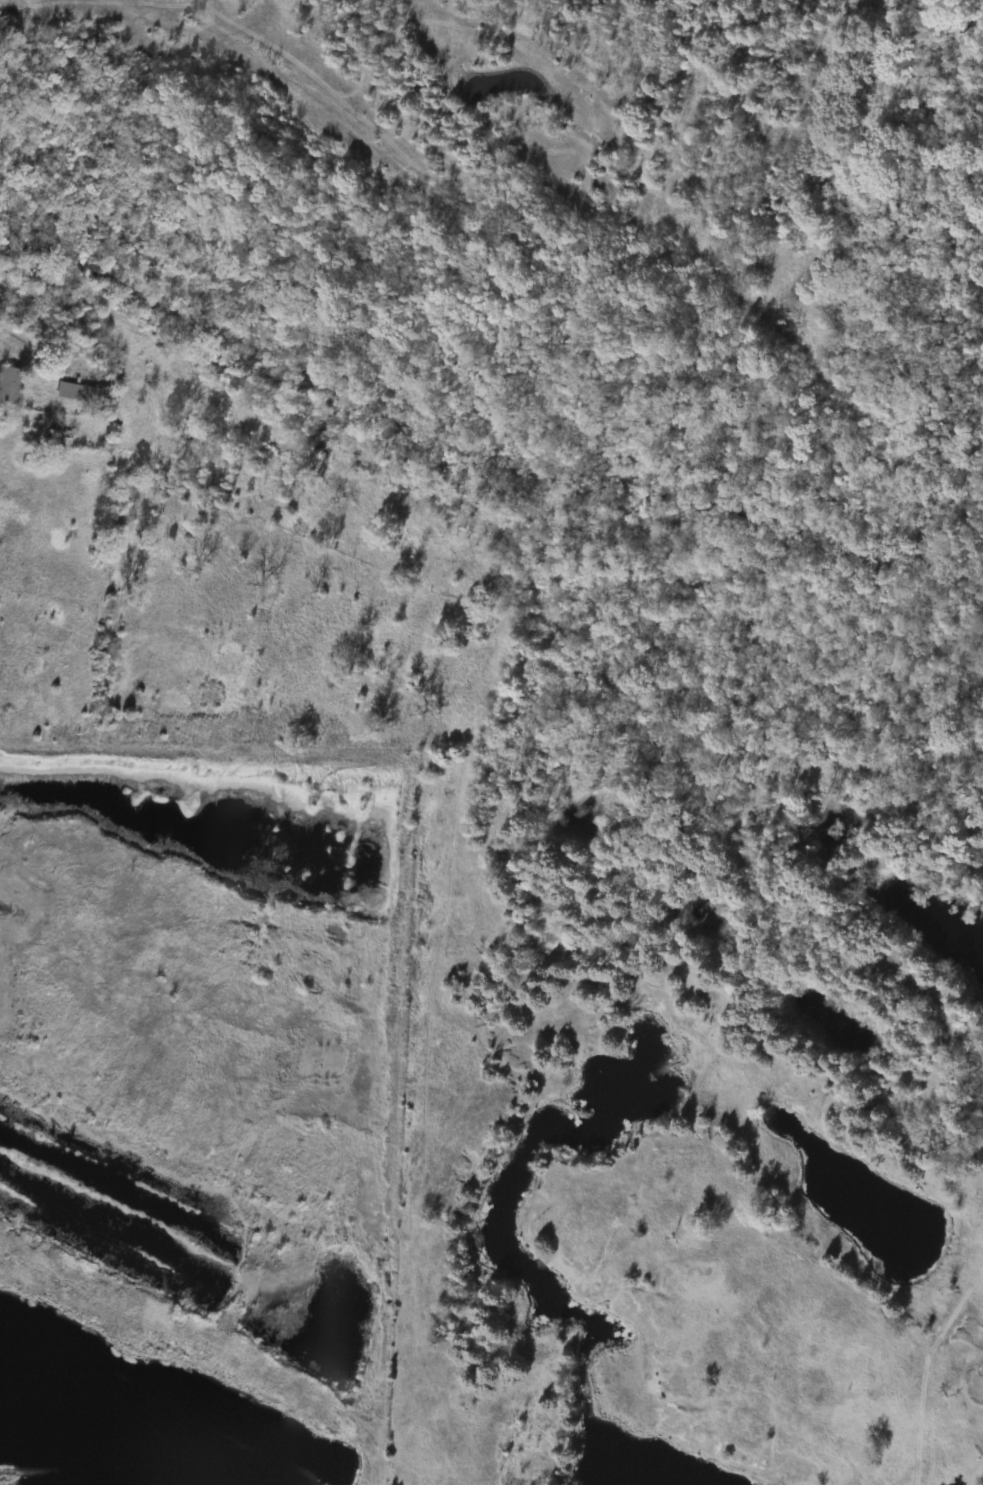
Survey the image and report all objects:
building: (8, 385)
building: (74, 394)
building: (125, 495)

